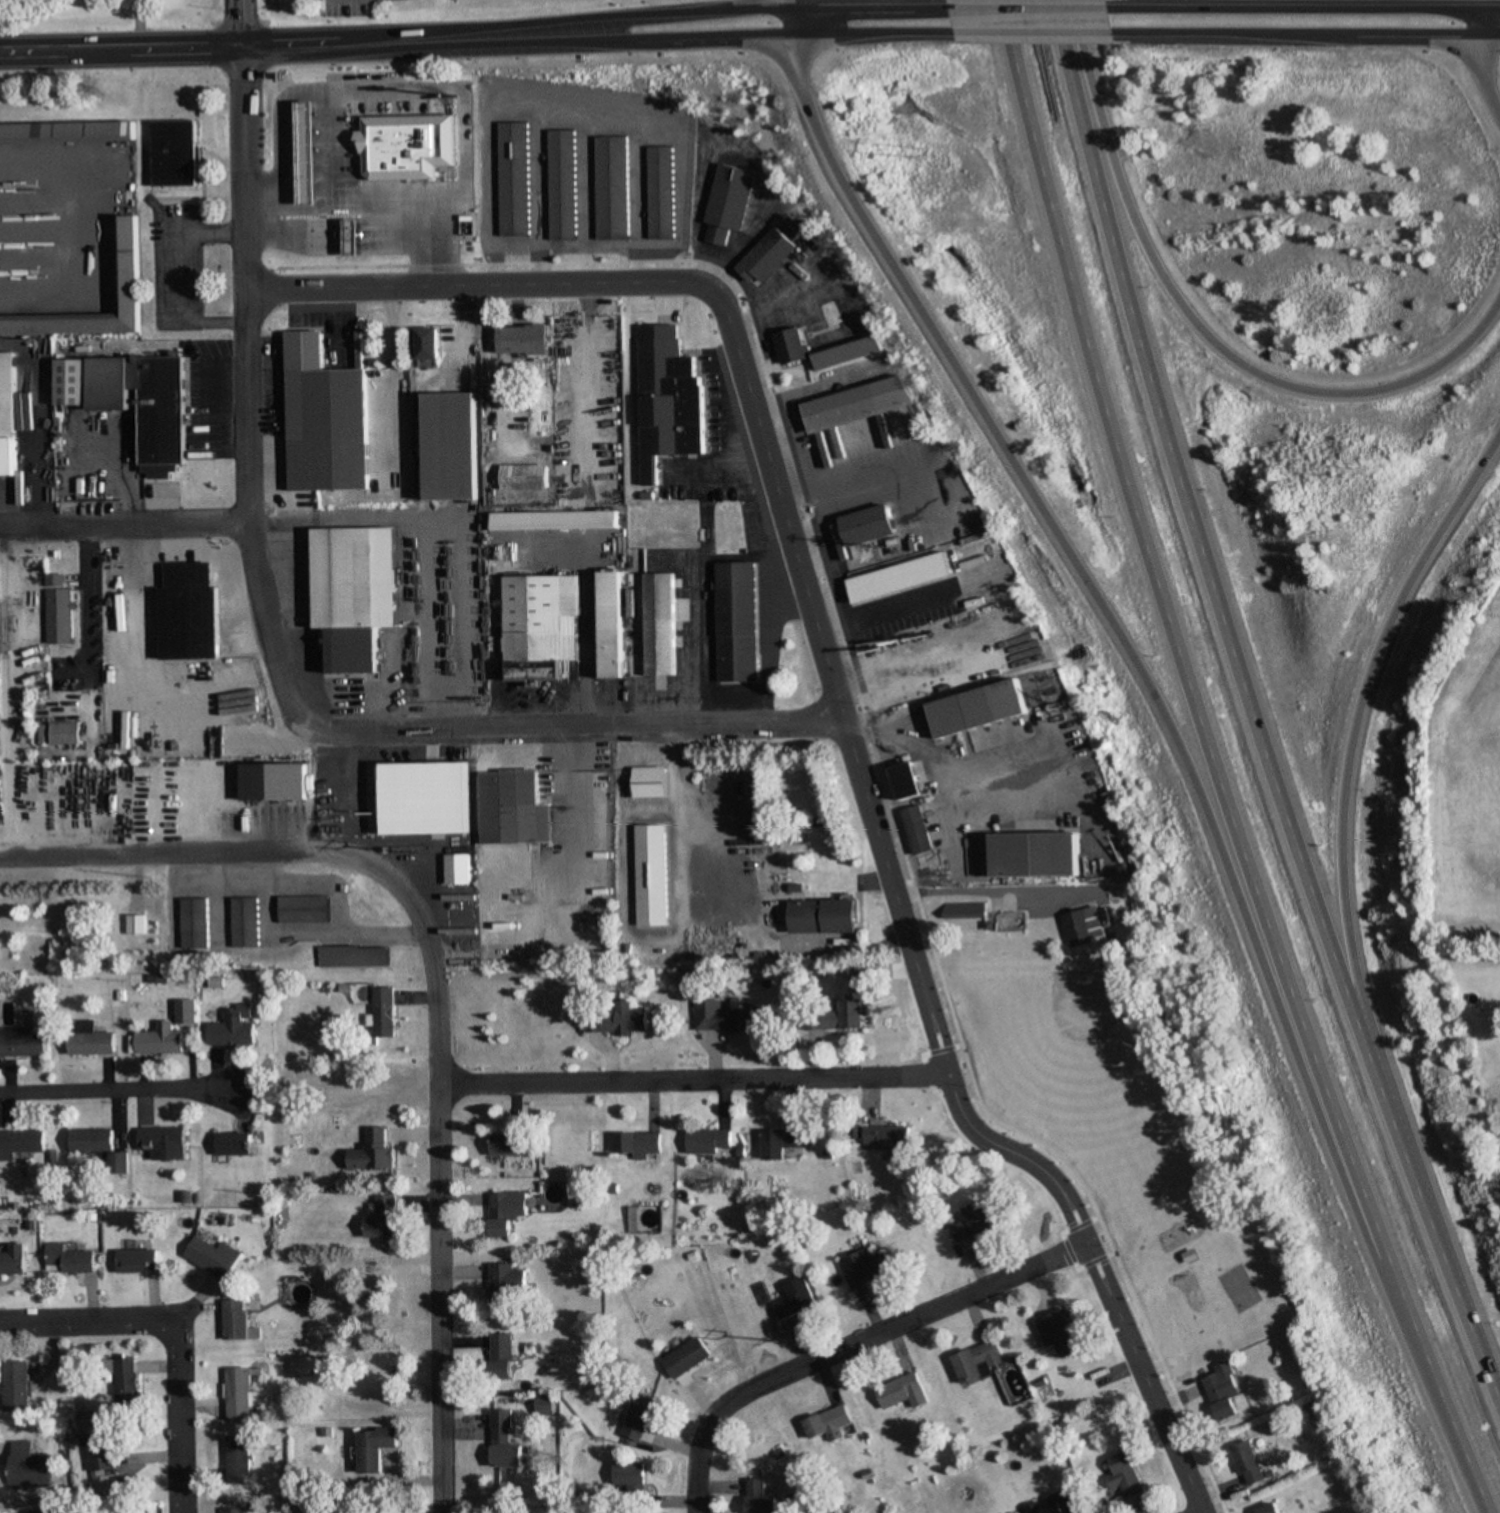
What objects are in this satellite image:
road: (787, 4)
road: (746, 5)
road: (869, 9)
road: (1032, 9)
road: (1306, 9)
road: (1499, 10)
road: (661, 14)
road: (788, 21)
road: (236, 24)
road: (1039, 33)
road: (1309, 33)
road: (747, 34)
road: (268, 46)
road: (1481, 64)
building: (67, 133)
building: (379, 147)
building: (174, 153)
power tower: (917, 154)
building: (303, 161)
building: (511, 179)
building: (559, 185)
building: (609, 188)
building: (658, 193)
building: (726, 203)
building: (350, 236)
building: (764, 257)
building: (128, 264)
road: (1198, 326)
building: (521, 339)
building: (425, 343)
building: (788, 346)
building: (844, 352)
building: (69, 382)
building: (144, 401)
building: (665, 404)
building: (856, 404)
building: (7, 415)
building: (323, 420)
building: (450, 446)
power tower: (1361, 473)
power tower: (142, 476)
building: (522, 478)
building: (554, 521)
building: (867, 526)
road: (124, 528)
building: (898, 578)
building: (353, 593)
building: (57, 610)
building: (187, 612)
building: (735, 622)
building: (658, 624)
building: (608, 625)
building: (539, 626)
road: (275, 658)
road: (1155, 706)
building: (977, 709)
road: (1247, 716)
road: (841, 718)
road: (1360, 725)
building: (64, 732)
road: (1213, 766)
building: (905, 781)
building: (647, 782)
building: (245, 795)
building: (444, 797)
building: (509, 808)
road: (559, 818)
building: (915, 830)
building: (433, 838)
power tower: (418, 854)
building: (1036, 855)
building: (649, 875)
building: (302, 909)
building: (962, 910)
building: (823, 916)
building: (192, 923)
building: (243, 923)
building: (1082, 927)
building: (351, 957)
building: (857, 979)
road: (432, 992)
building: (186, 1011)
building: (381, 1012)
building: (833, 1017)
building: (613, 1018)
building: (721, 1018)
building: (232, 1025)
building: (92, 1040)
building: (161, 1040)
building: (23, 1042)
road: (693, 1079)
road: (119, 1090)
park: (1117, 1134)
building: (886, 1137)
building: (706, 1140)
building: (780, 1142)
building: (20, 1143)
building: (164, 1143)
building: (235, 1143)
building: (635, 1144)
building: (505, 1145)
building: (101, 1147)
building: (371, 1152)
building: (505, 1212)
building: (382, 1218)
building: (971, 1223)
building: (214, 1258)
building: (72, 1260)
building: (15, 1261)
building: (139, 1262)
building: (864, 1269)
building: (509, 1286)
building: (1234, 1288)
building: (796, 1300)
building: (236, 1322)
road: (174, 1331)
building: (1057, 1333)
power tower: (772, 1339)
road: (850, 1346)
building: (502, 1356)
building: (688, 1358)
building: (976, 1363)
building: (299, 1367)
building: (123, 1379)
building: (17, 1386)
building: (1220, 1391)
building: (902, 1392)
building: (237, 1394)
building: (641, 1418)
building: (829, 1424)
building: (506, 1441)
building: (376, 1448)
building: (26, 1459)
building: (239, 1459)
building: (1246, 1463)
building: (106, 1464)
building: (631, 1474)
building: (1122, 1476)
building: (760, 1498)
building: (1052, 1504)
building: (1268, 1508)
building: (48, 1510)
building: (234, 1510)
road: (1202, 1512)

